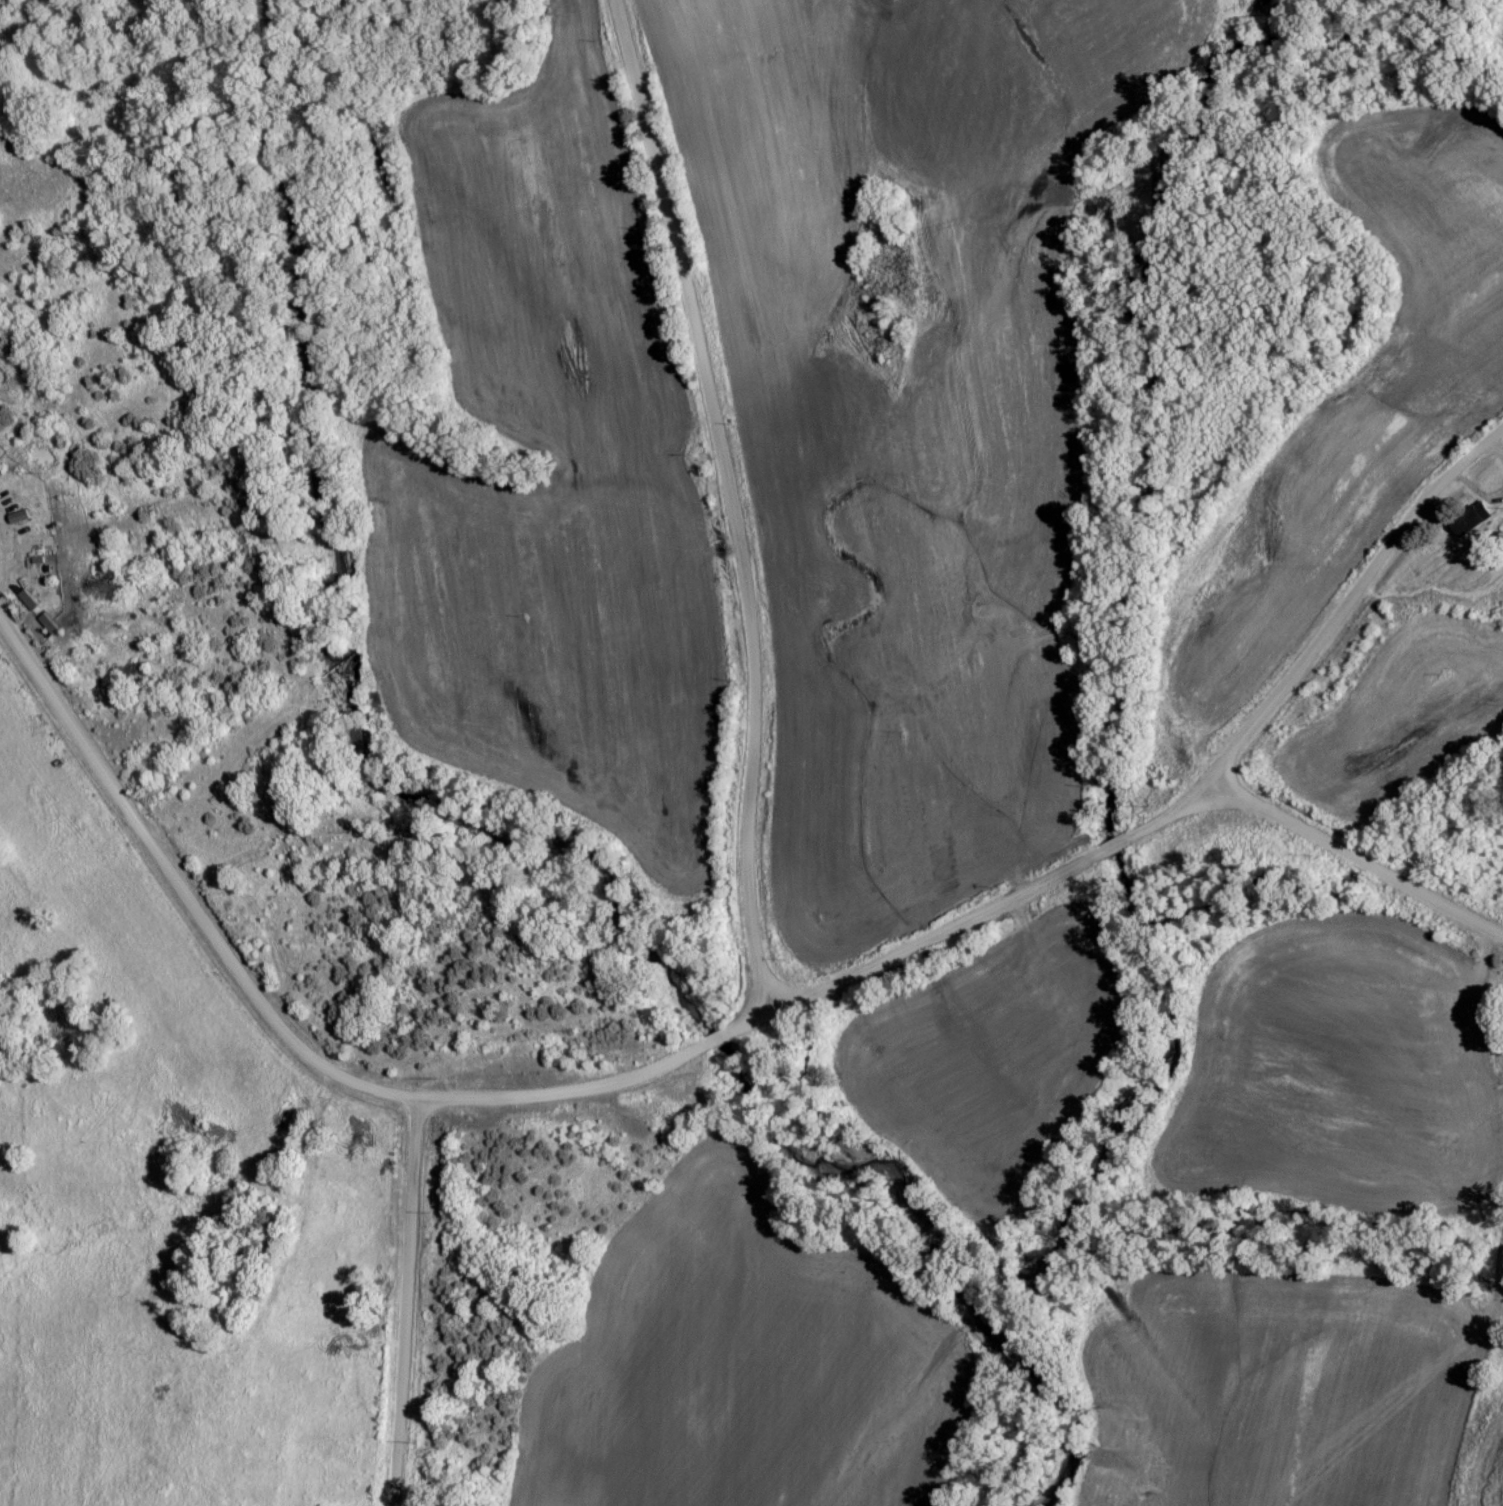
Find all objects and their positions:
road: (733, 498)
building: (1471, 518)
road: (1354, 859)
road: (1033, 885)
road: (182, 896)
park: (230, 1262)
road: (400, 1303)

